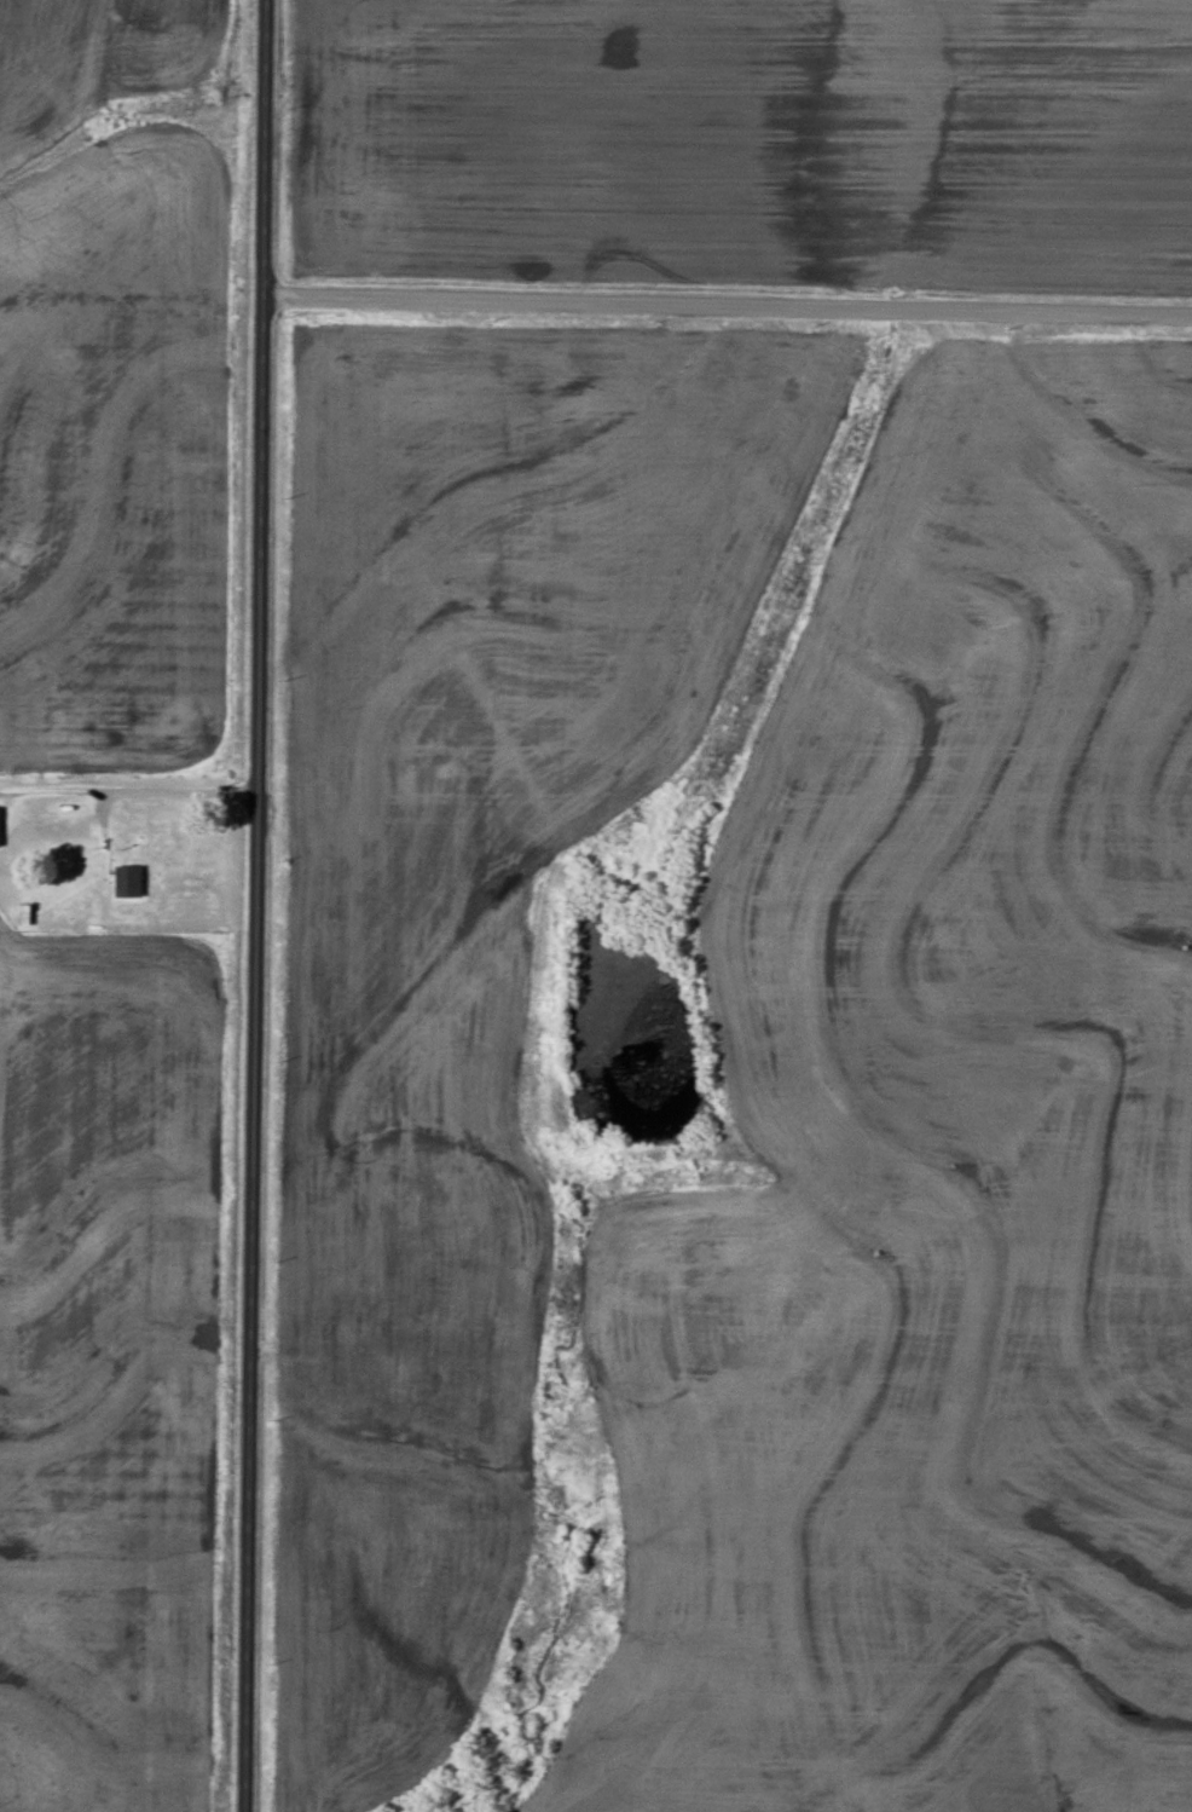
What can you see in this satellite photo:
road: (725, 328)
road: (134, 792)
building: (127, 883)
road: (249, 906)
building: (23, 916)
building: (361, 1367)
building: (418, 1495)

